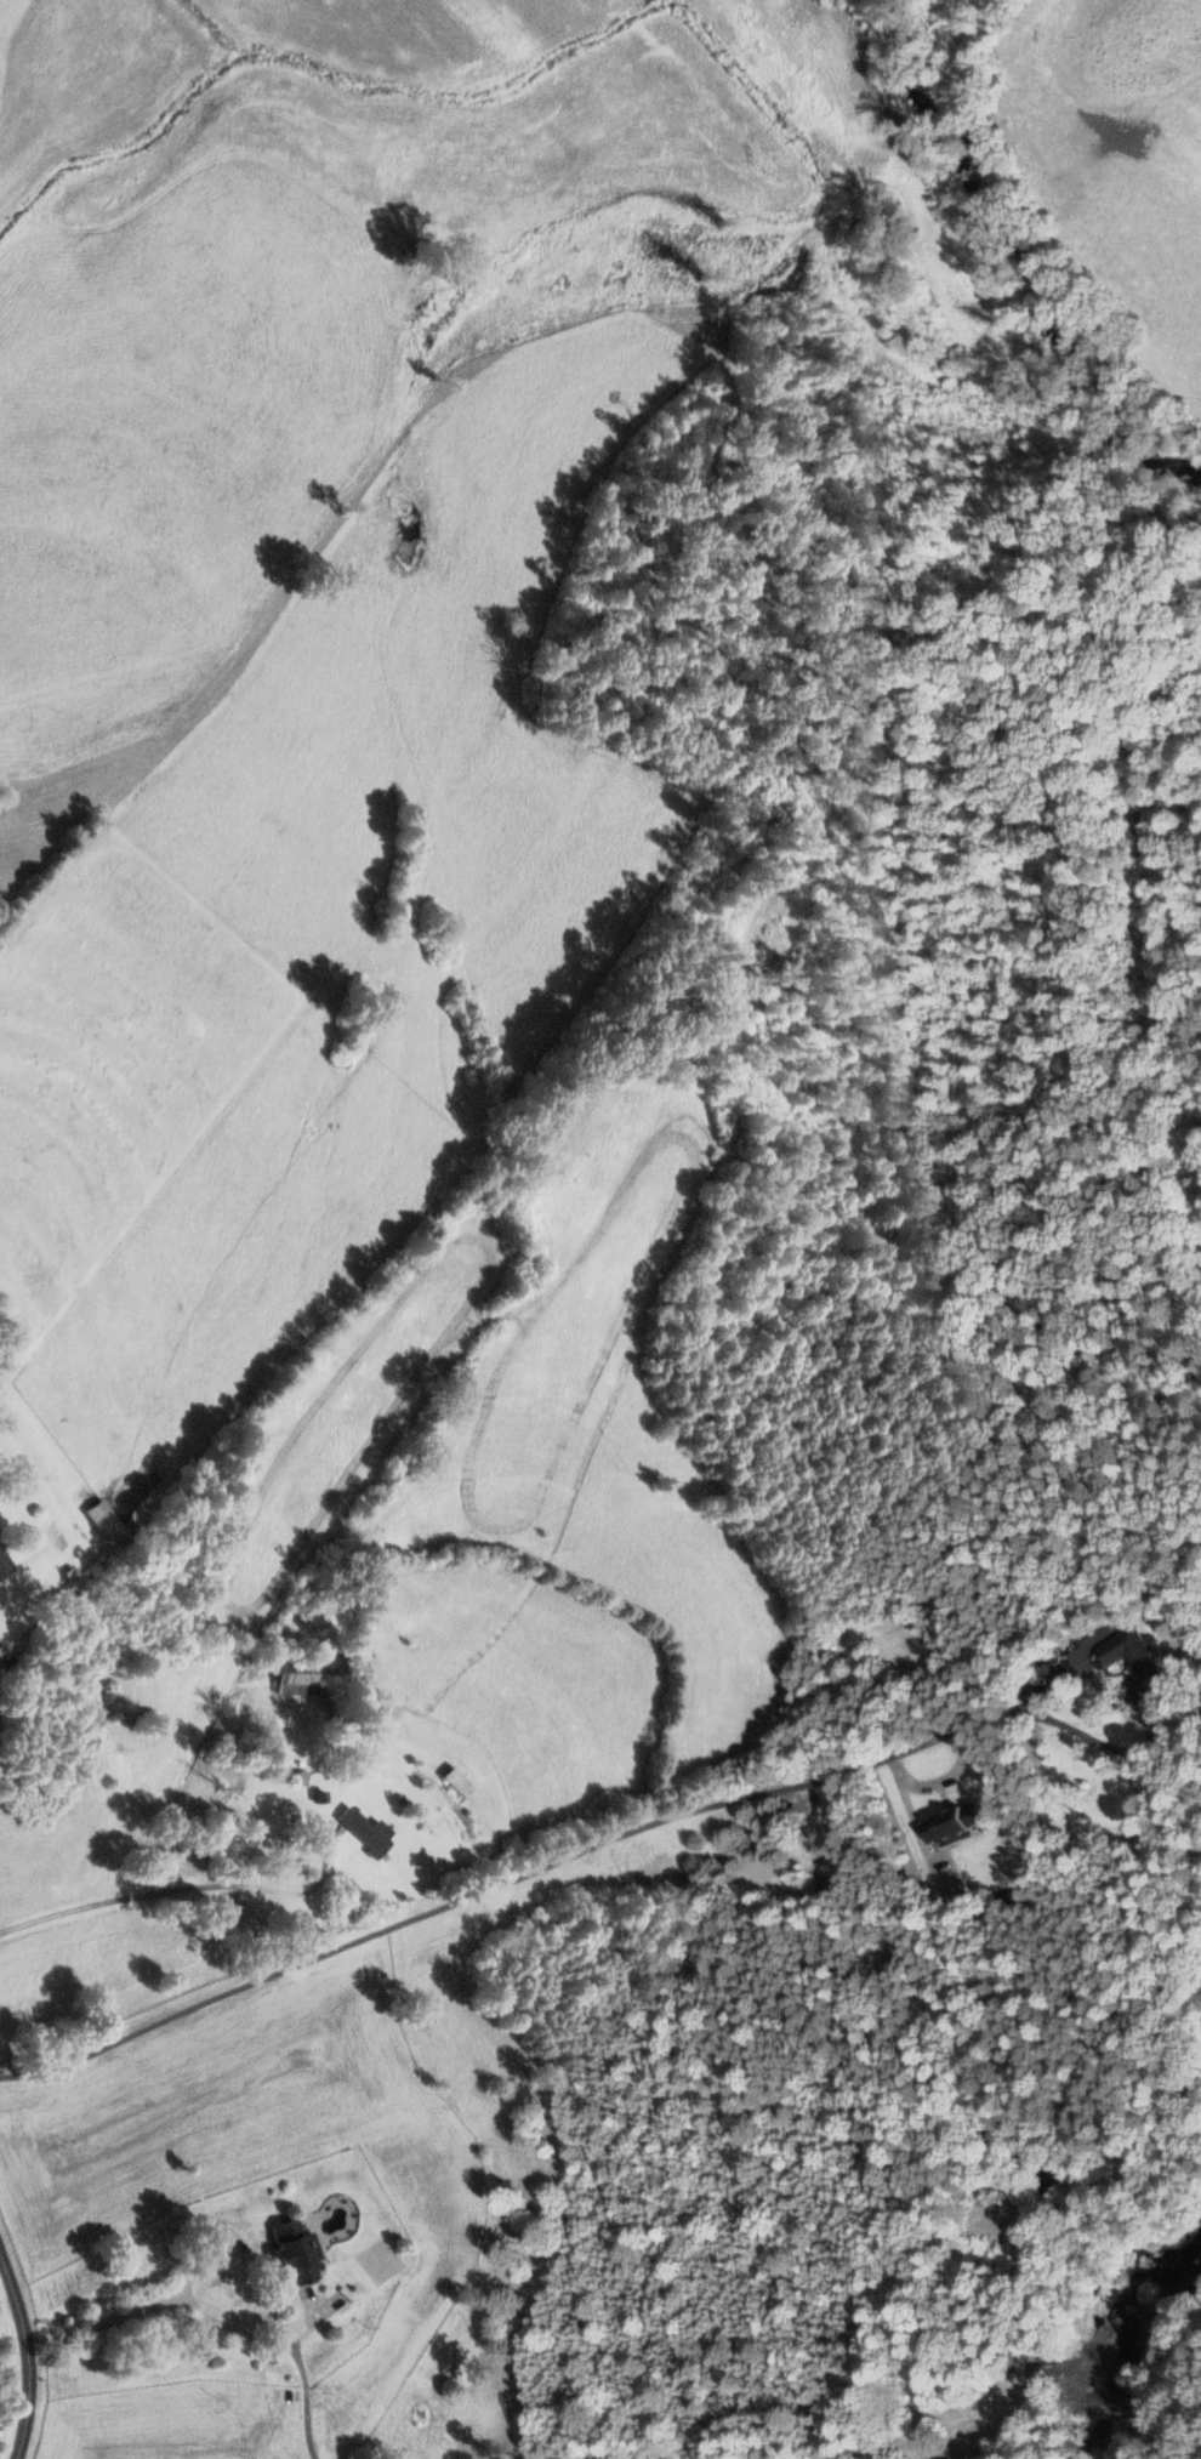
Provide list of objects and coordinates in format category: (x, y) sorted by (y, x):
building: (103, 1520)
building: (4, 1565)
building: (1127, 1653)
building: (294, 1674)
road: (1111, 1749)
building: (456, 1782)
building: (363, 1831)
road: (537, 1867)
road: (187, 1885)
building: (228, 1911)
building: (292, 2252)
road: (221, 2313)
road: (27, 2353)
road: (303, 2372)

